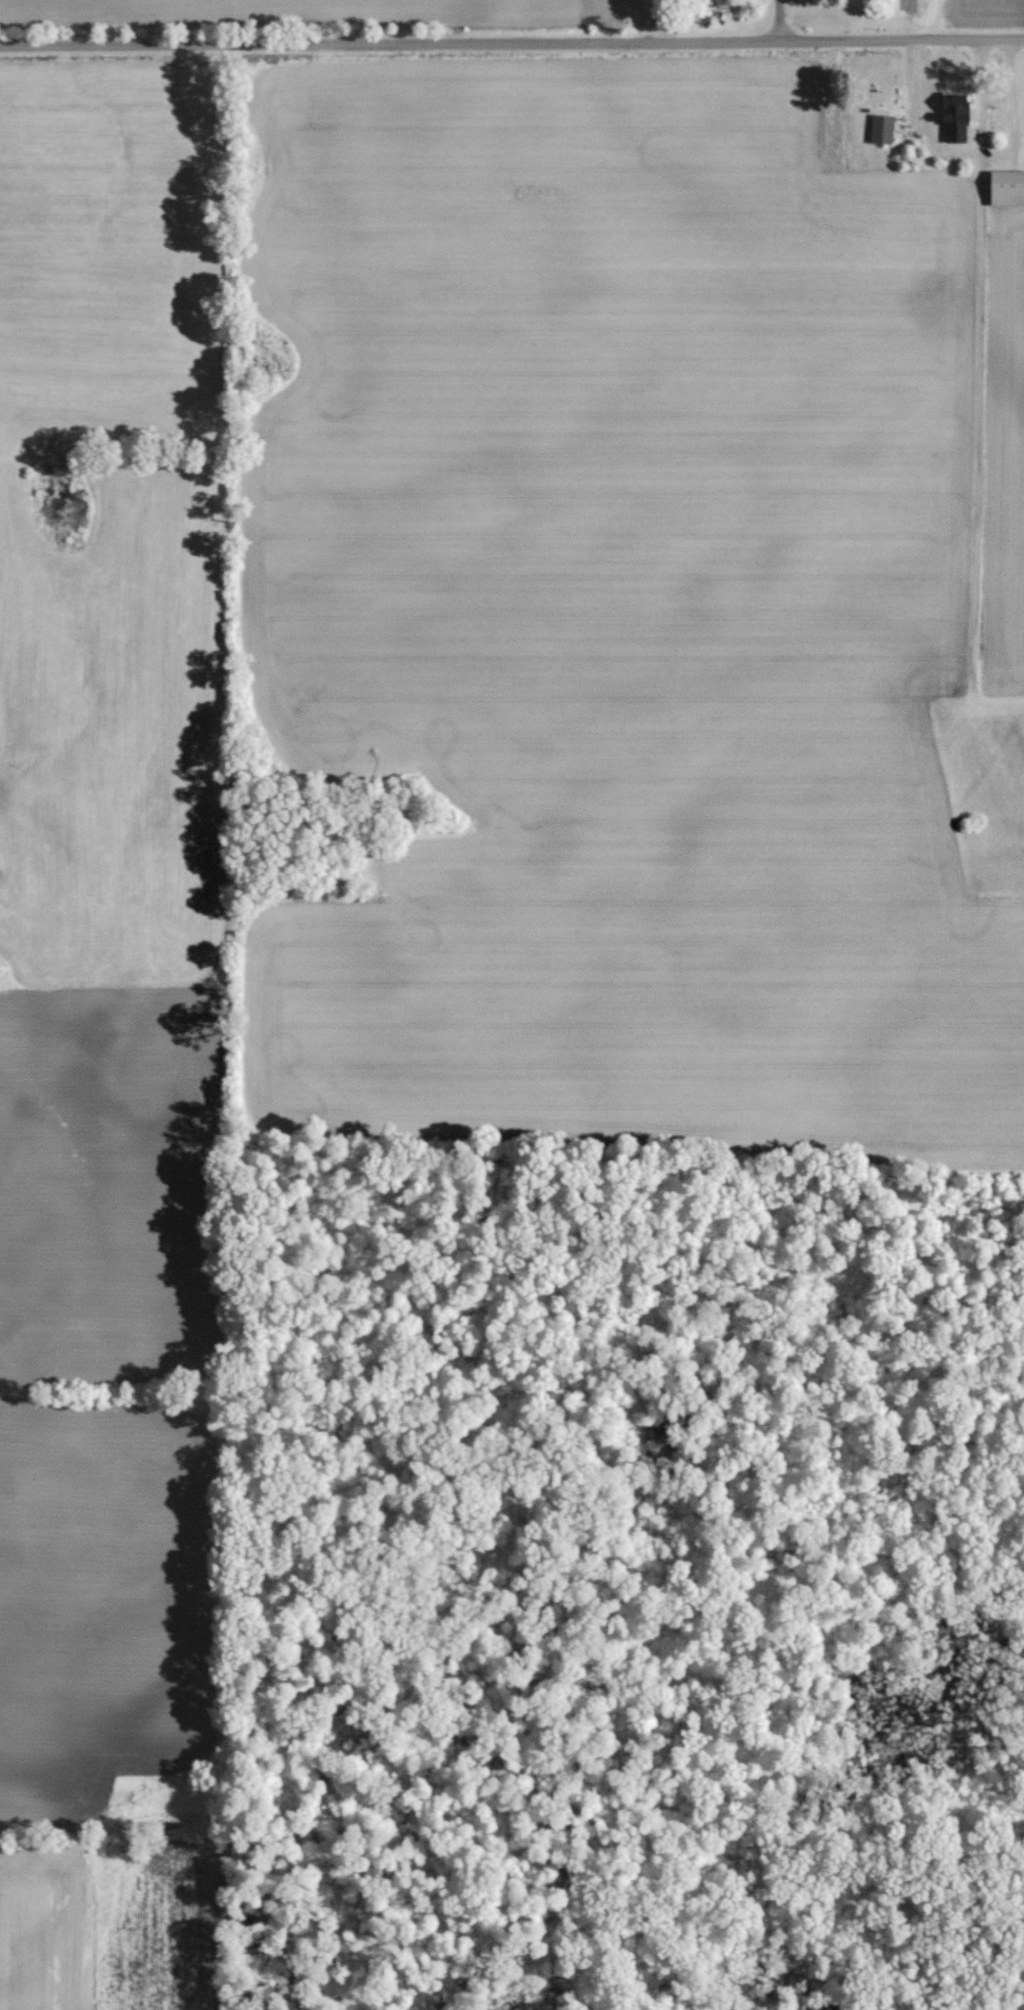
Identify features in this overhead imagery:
road: (783, 20)
road: (512, 39)
building: (953, 106)
building: (880, 127)
building: (1005, 186)
road: (977, 337)

